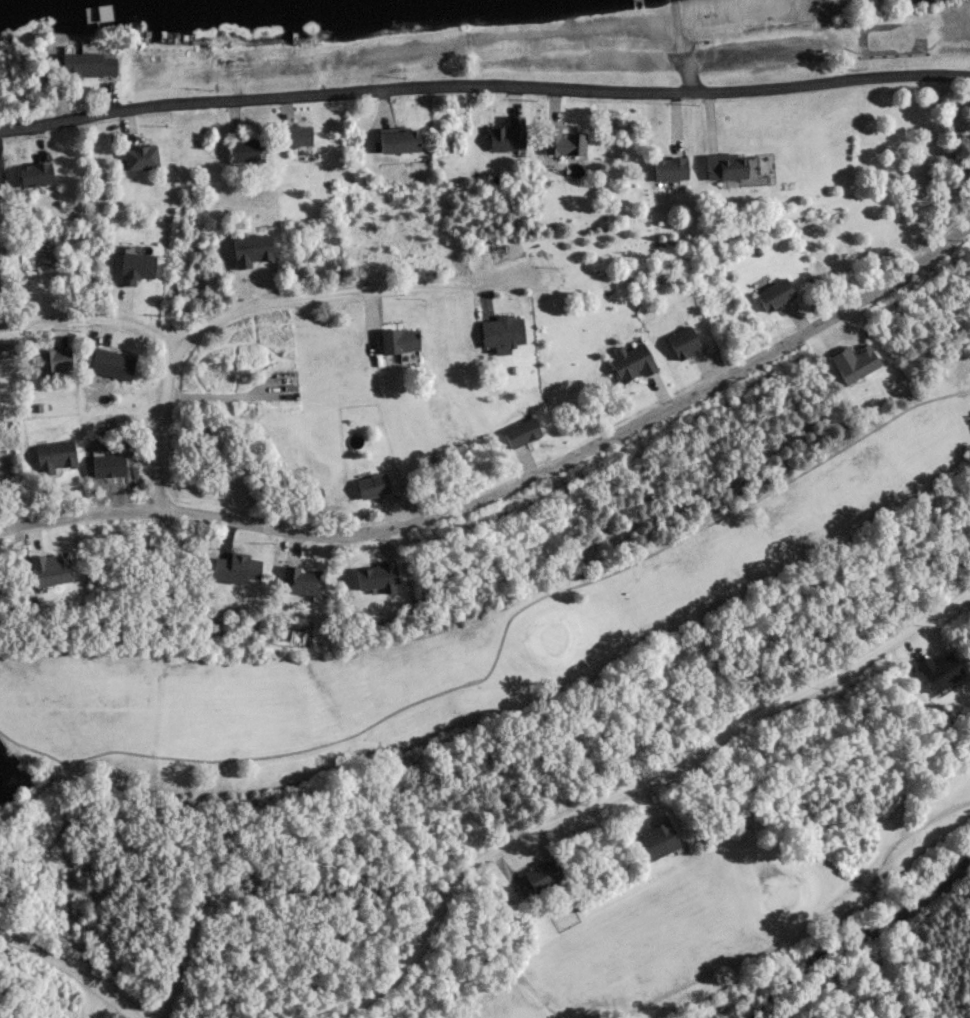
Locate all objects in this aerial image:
building: (88, 63)
road: (484, 84)
building: (296, 134)
building: (509, 134)
building: (401, 140)
building: (563, 140)
building: (244, 149)
building: (141, 155)
building: (727, 165)
building: (670, 168)
building: (36, 173)
building: (253, 249)
building: (137, 266)
road: (343, 291)
building: (772, 294)
road: (86, 318)
building: (503, 332)
building: (400, 339)
building: (679, 341)
building: (55, 358)
building: (850, 361)
building: (112, 362)
building: (629, 363)
road: (158, 423)
building: (518, 431)
building: (56, 455)
road: (513, 484)
building: (368, 485)
building: (51, 568)
building: (238, 568)
building: (301, 580)
road: (635, 787)
building: (654, 837)
building: (536, 875)
road: (69, 973)

